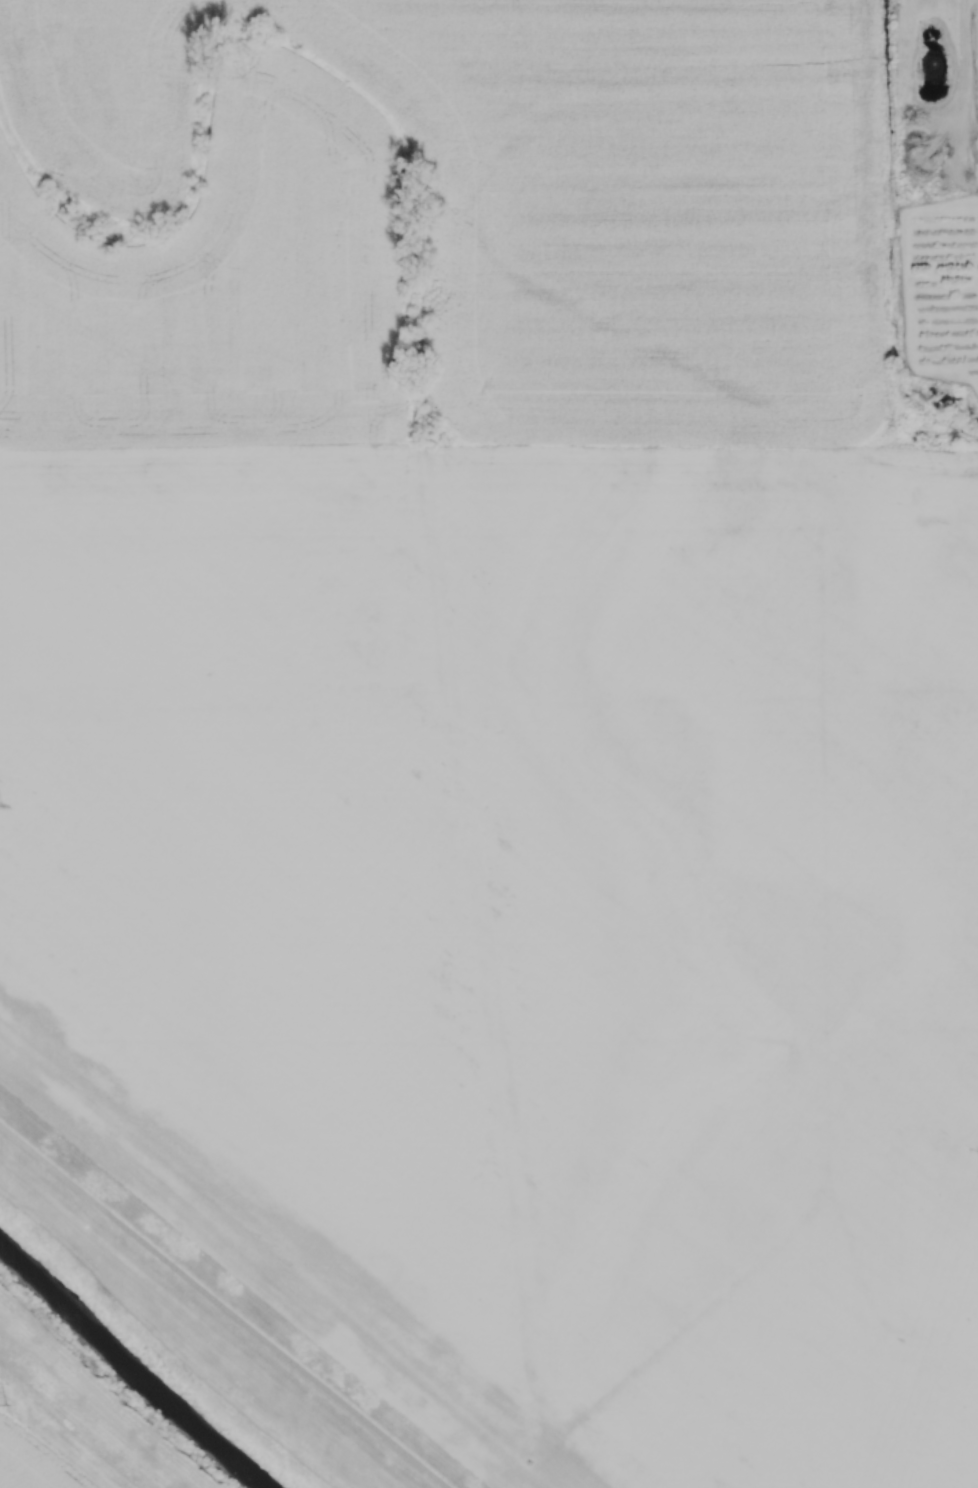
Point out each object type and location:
power tower: (0, 74)
crop: (438, 221)
road: (224, 1305)
river: (126, 1369)
power tower: (10, 1396)
road: (69, 1430)
crop: (33, 1461)

